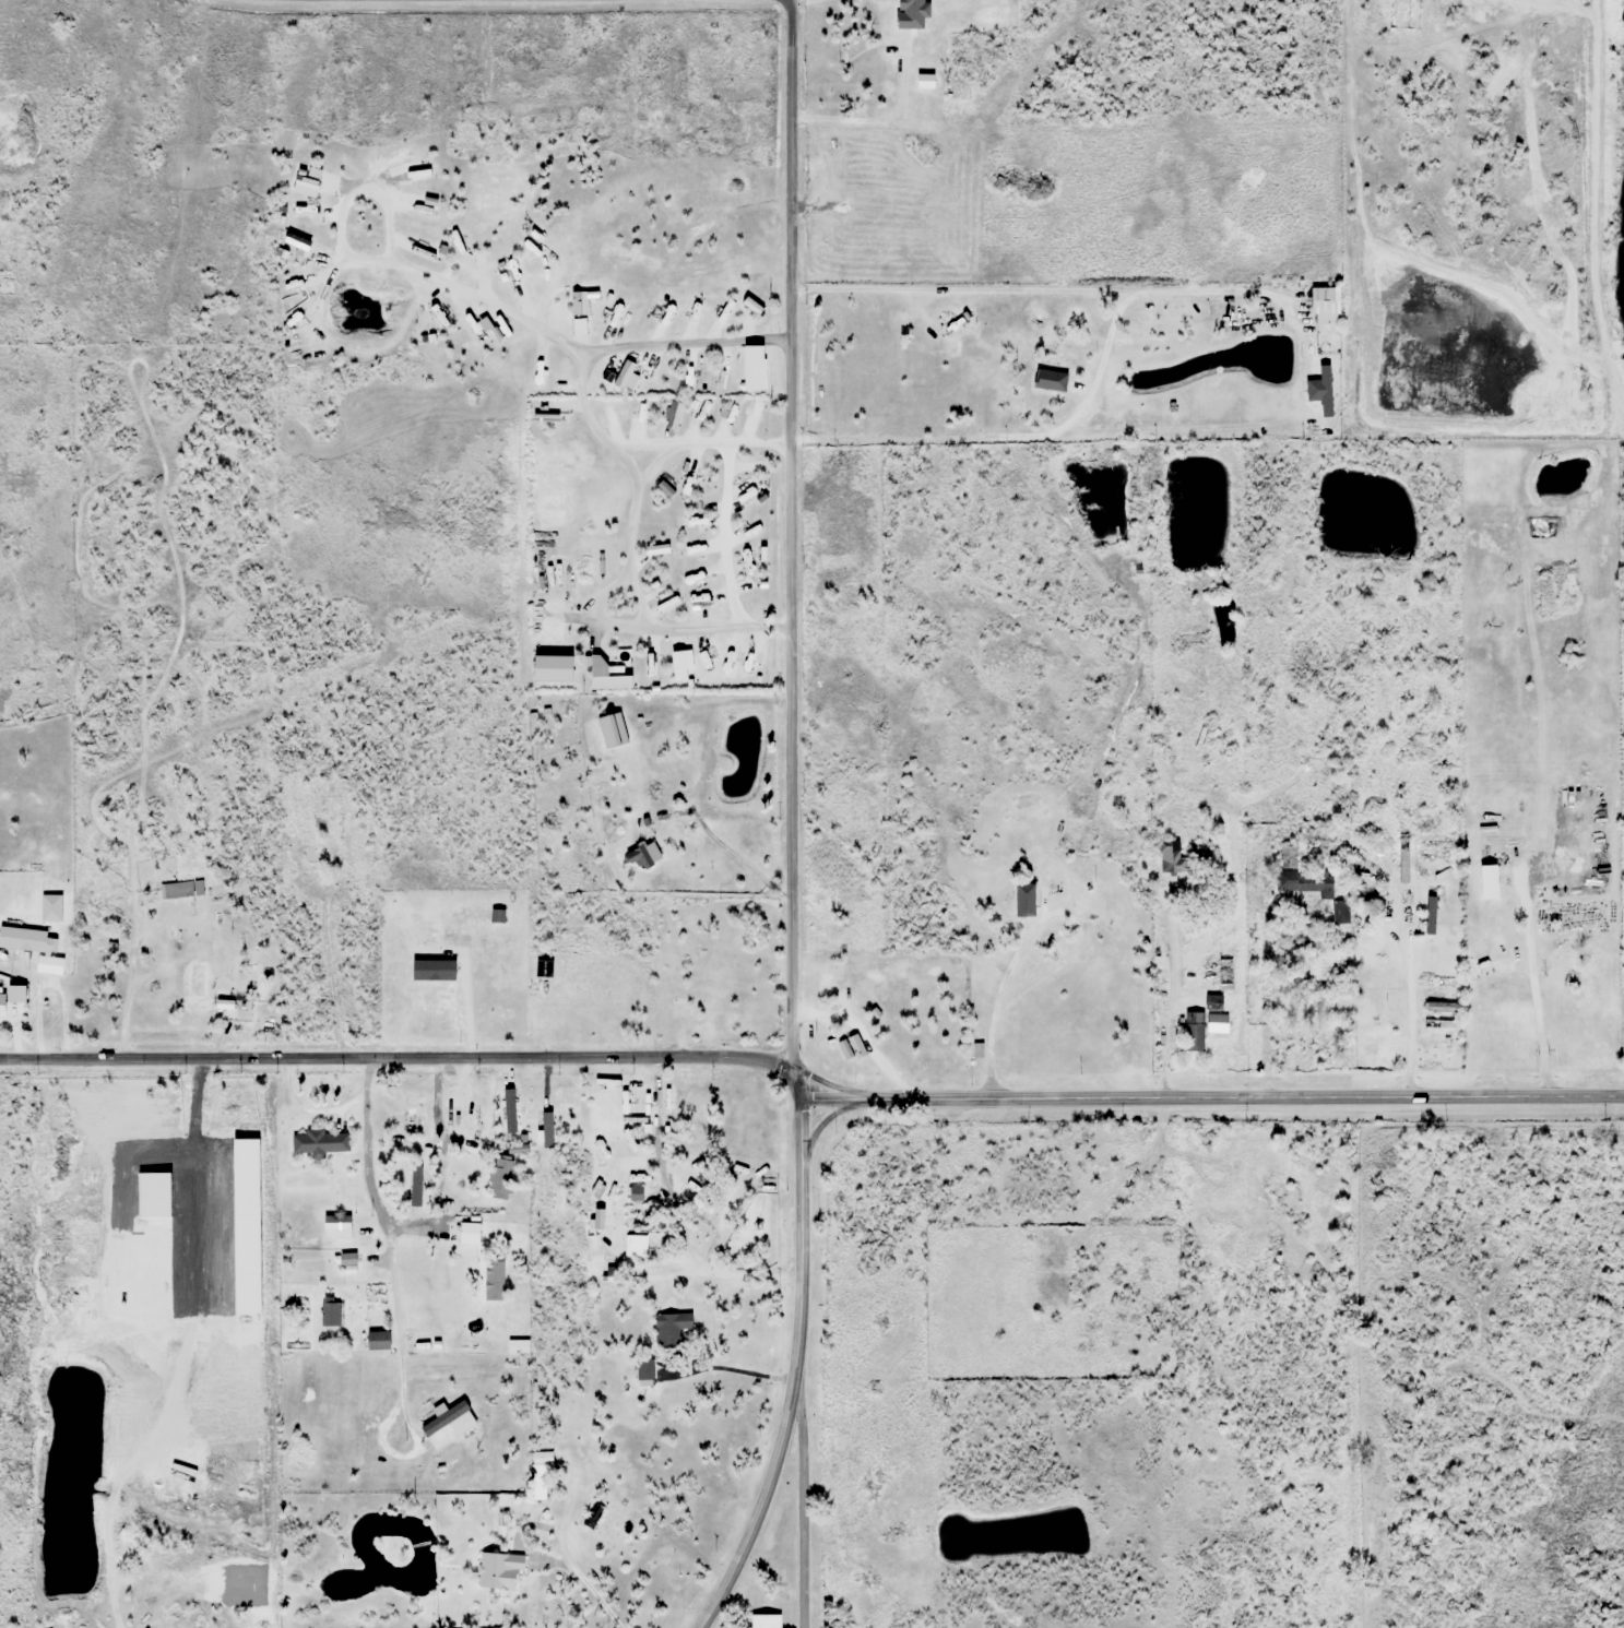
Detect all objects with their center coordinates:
building: (894, 1)
building: (1358, 14)
building: (1400, 14)
building: (635, 156)
road: (432, 276)
building: (7, 284)
building: (1325, 306)
building: (1054, 377)
building: (1324, 391)
road: (580, 393)
road: (629, 462)
road: (631, 531)
road: (789, 531)
road: (723, 536)
road: (604, 594)
road: (671, 629)
building: (549, 672)
building: (612, 676)
building: (613, 732)
building: (39, 795)
building: (1287, 854)
building: (317, 856)
building: (643, 857)
building: (1171, 857)
building: (1489, 882)
building: (1302, 883)
building: (175, 891)
building: (1026, 901)
building: (1431, 920)
road: (1026, 923)
building: (22, 940)
building: (1324, 955)
building: (545, 971)
road: (43, 976)
building: (577, 977)
building: (716, 981)
building: (1437, 982)
building: (1222, 986)
road: (127, 994)
building: (1441, 1006)
building: (1, 1009)
building: (233, 1010)
building: (1218, 1023)
building: (1439, 1025)
building: (1194, 1032)
building: (977, 1050)
road: (393, 1057)
road: (791, 1082)
building: (501, 1092)
road: (1209, 1100)
building: (414, 1113)
building: (505, 1113)
building: (642, 1122)
building: (319, 1143)
building: (501, 1174)
building: (626, 1205)
building: (494, 1280)
building: (674, 1327)
building: (377, 1341)
road: (793, 1375)
building: (543, 1476)
road: (798, 1501)
building: (500, 1571)
building: (762, 1621)

